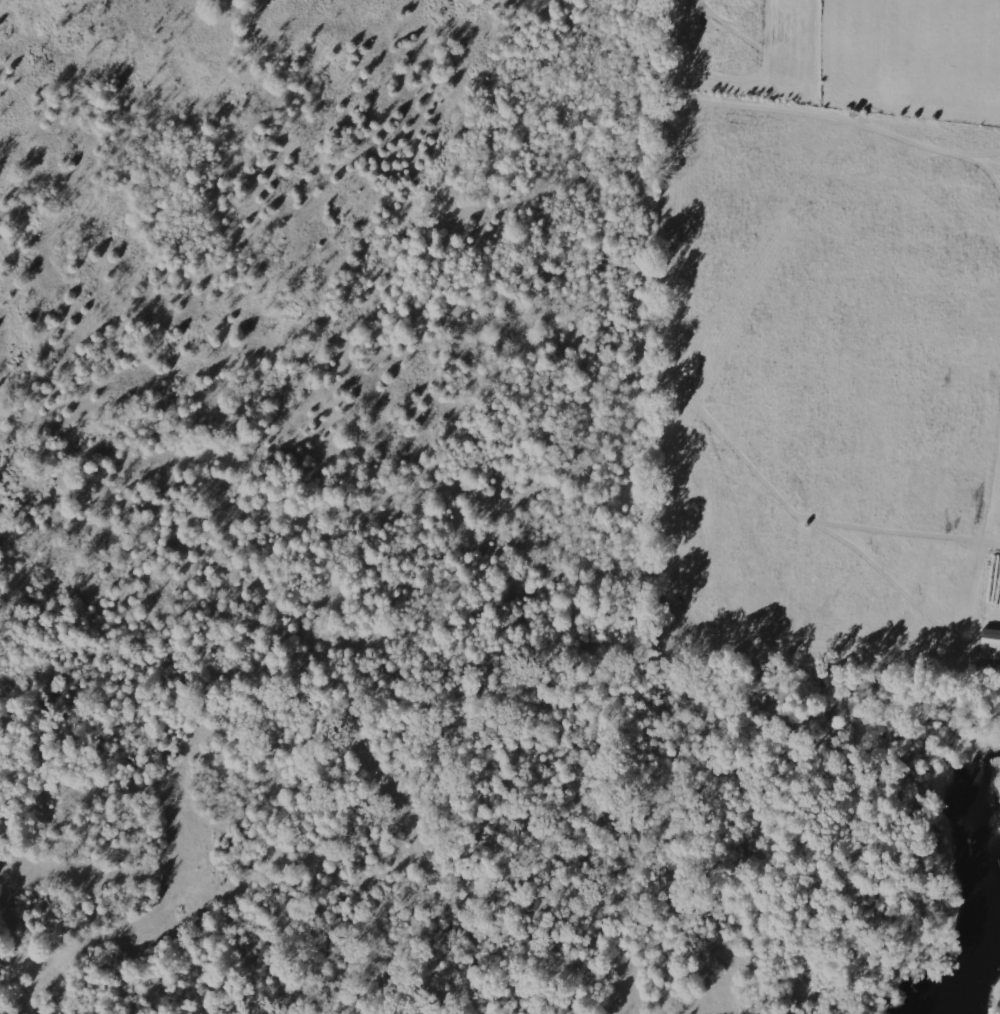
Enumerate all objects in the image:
building: (989, 638)

